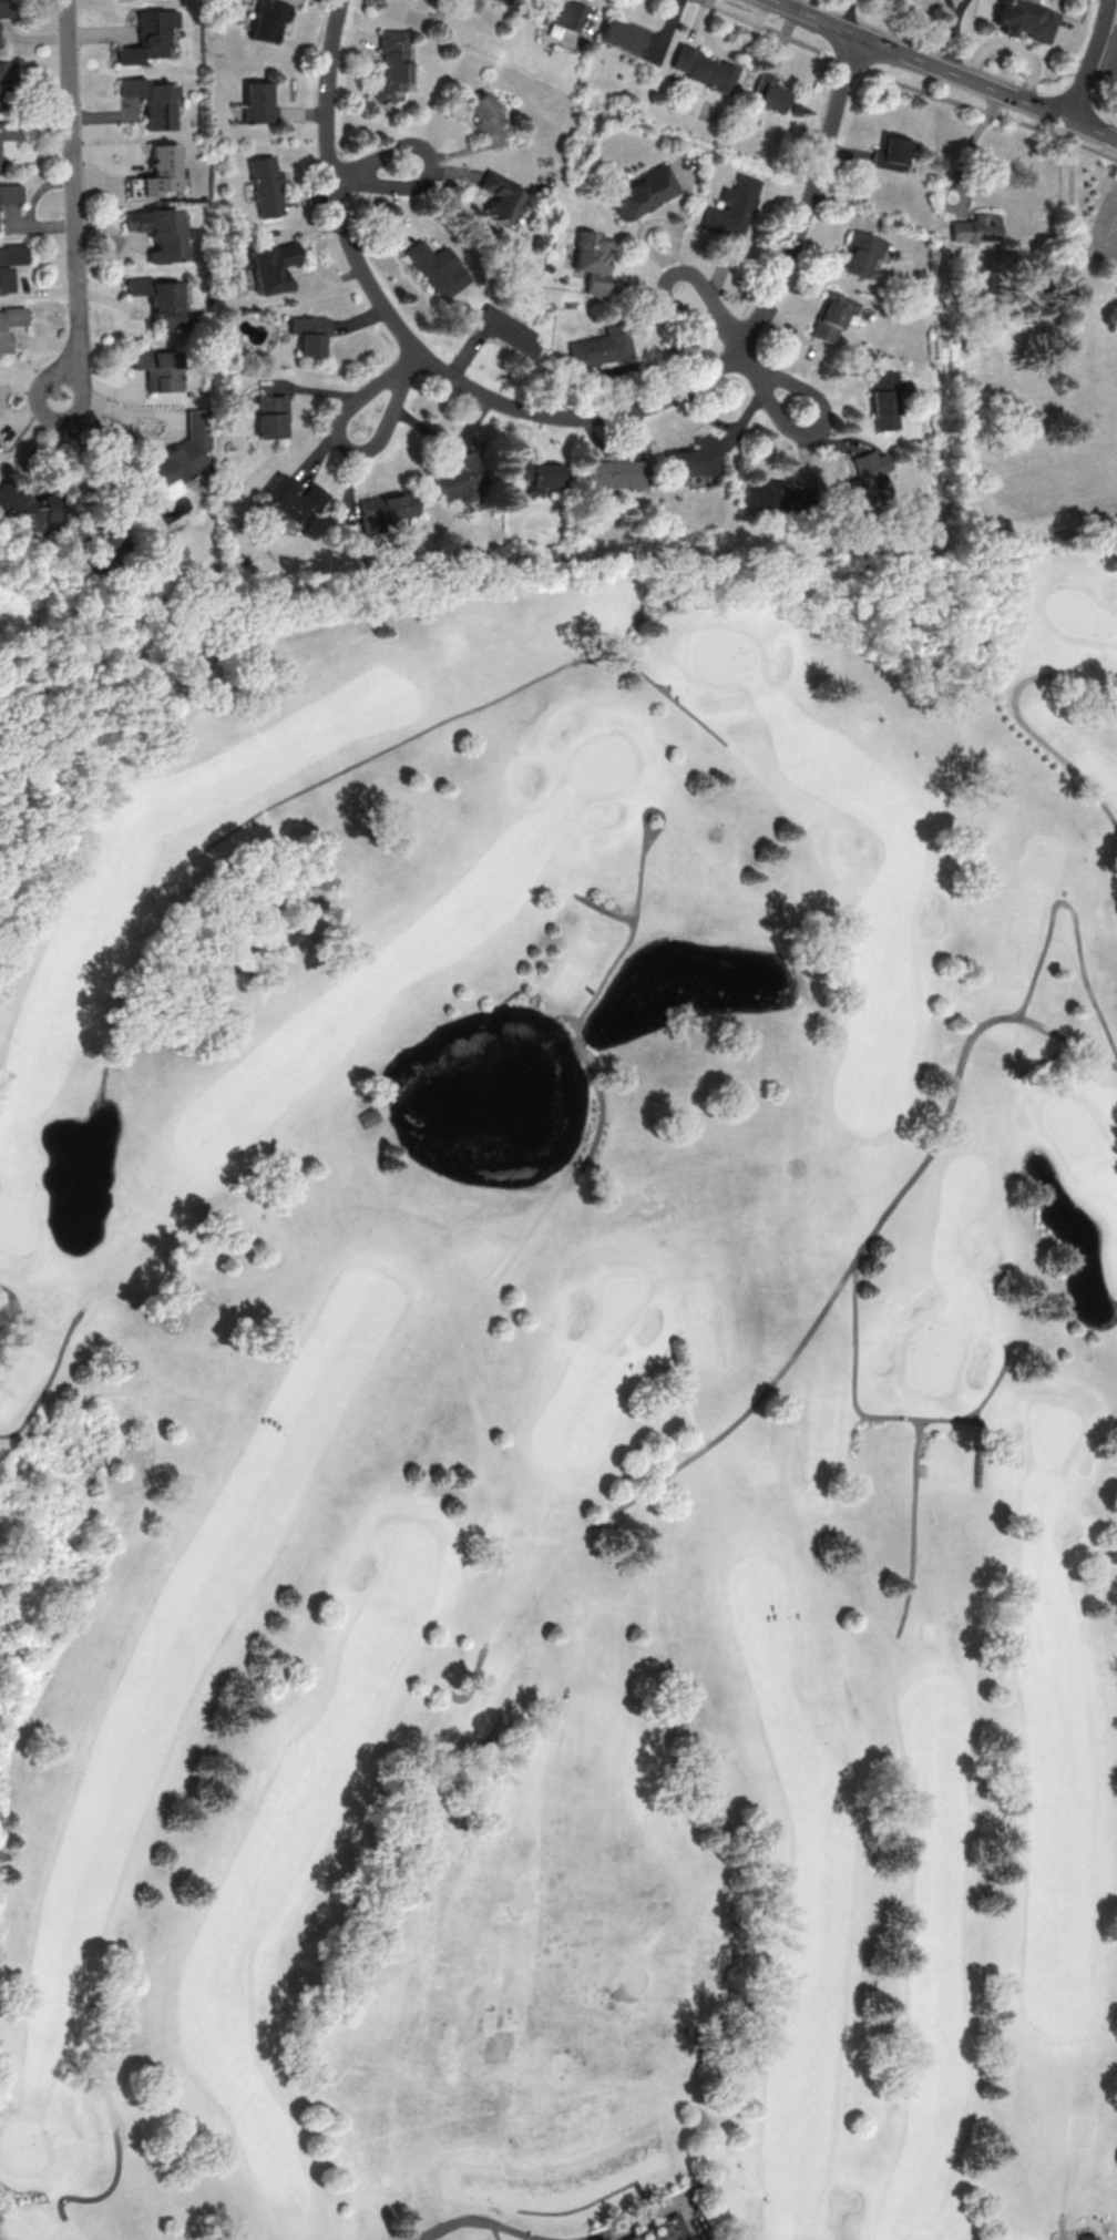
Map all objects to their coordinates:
building: (911, 1)
road: (957, 7)
road: (965, 7)
building: (6, 9)
building: (561, 12)
road: (850, 16)
building: (267, 20)
building: (1028, 20)
building: (148, 35)
building: (622, 35)
road: (1079, 35)
road: (962, 47)
road: (1019, 48)
road: (1108, 48)
road: (1092, 60)
building: (390, 63)
building: (703, 69)
road: (940, 69)
building: (7, 70)
building: (768, 93)
building: (152, 100)
building: (257, 102)
building: (483, 113)
building: (8, 135)
road: (1114, 139)
road: (972, 144)
building: (889, 151)
road: (437, 167)
building: (158, 172)
building: (265, 185)
building: (644, 192)
building: (10, 193)
building: (500, 196)
road: (72, 200)
building: (731, 207)
building: (975, 227)
road: (1099, 231)
building: (157, 232)
building: (860, 252)
building: (590, 258)
building: (12, 262)
building: (270, 266)
building: (437, 268)
building: (161, 299)
building: (831, 315)
building: (9, 324)
building: (505, 330)
building: (309, 334)
building: (598, 348)
road: (740, 348)
building: (156, 368)
building: (882, 399)
road: (561, 411)
building: (270, 416)
road: (340, 431)
road: (116, 442)
building: (177, 458)
building: (693, 458)
building: (537, 472)
building: (615, 473)
building: (462, 481)
building: (860, 483)
building: (767, 494)
building: (293, 498)
building: (385, 509)
building: (28, 511)
building: (105, 538)
road: (470, 709)
road: (1023, 722)
road: (603, 908)
road: (1073, 917)
road: (608, 970)
building: (367, 1116)
road: (863, 1242)
road: (19, 1324)
road: (51, 1382)
road: (687, 1399)
park: (561, 1405)
road: (879, 1418)
road: (986, 1436)
road: (912, 1528)
road: (505, 1605)
road: (703, 2183)
road: (105, 2191)
road: (652, 2209)
road: (491, 2221)
road: (1063, 2230)
road: (496, 2231)
building: (1087, 2236)
building: (608, 2239)
building: (615, 2239)

